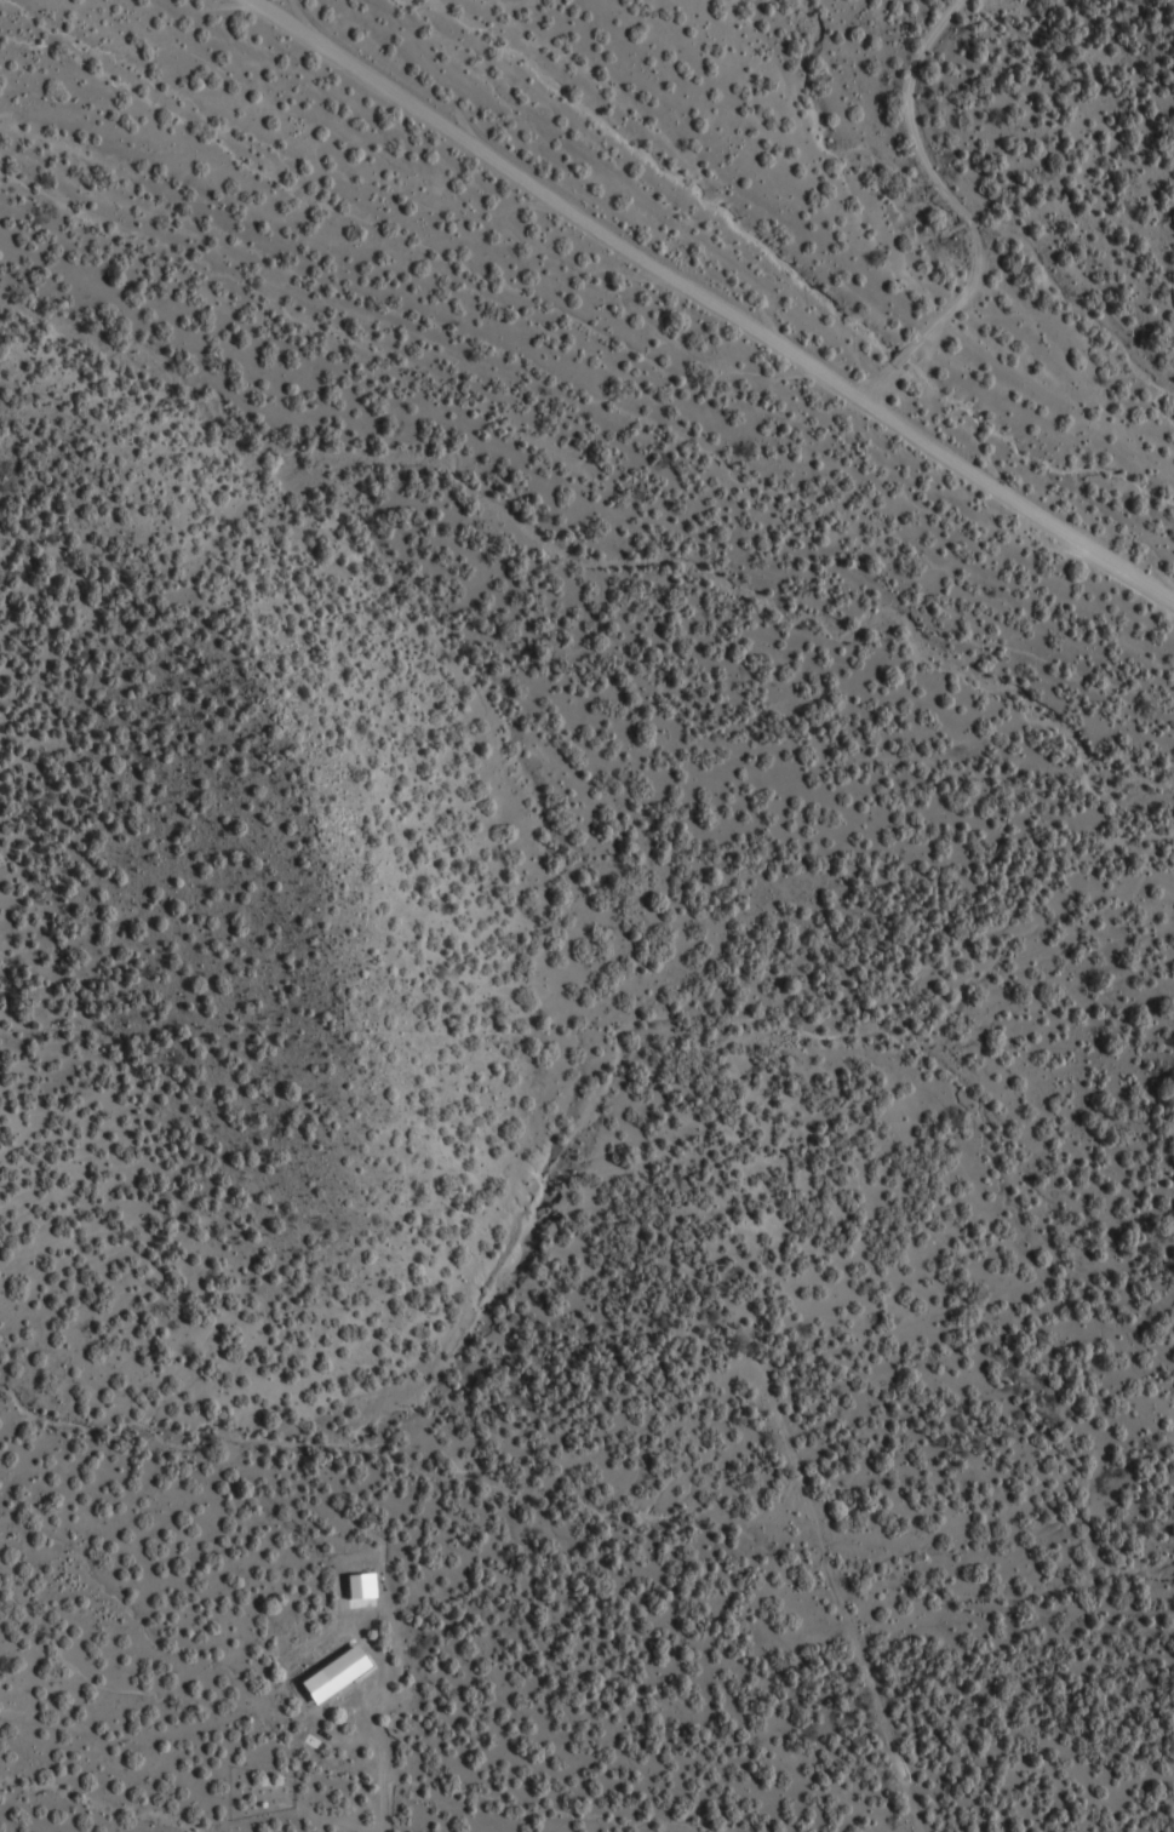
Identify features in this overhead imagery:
road: (714, 303)
building: (342, 1674)

